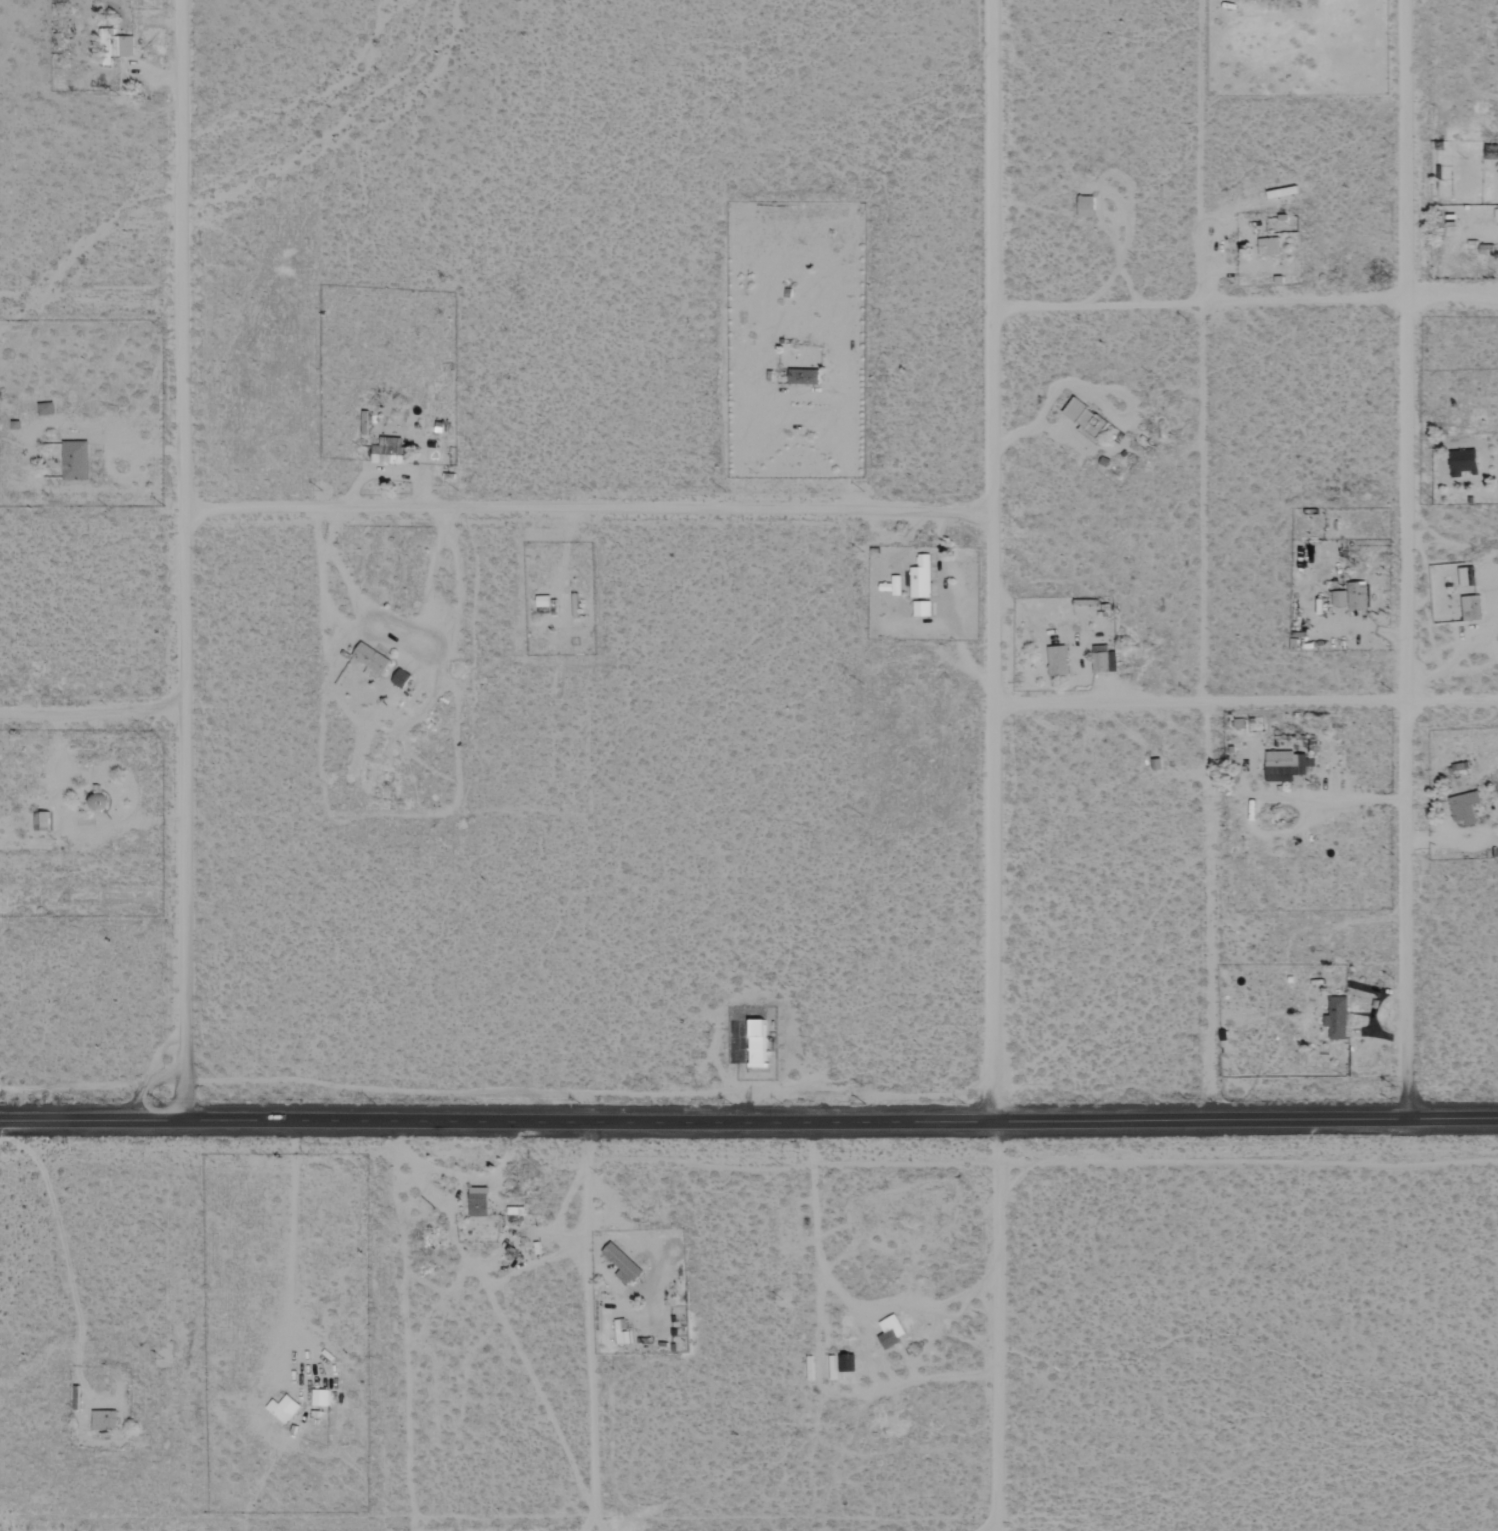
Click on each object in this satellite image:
building: (116, 46)
road: (180, 255)
road: (1246, 306)
building: (803, 376)
building: (46, 409)
building: (1086, 420)
building: (389, 452)
building: (75, 461)
building: (1463, 462)
road: (583, 511)
road: (1405, 559)
road: (988, 560)
building: (920, 578)
building: (893, 586)
building: (1352, 596)
building: (922, 609)
road: (182, 615)
building: (371, 659)
building: (1104, 660)
building: (1057, 661)
building: (401, 679)
road: (1242, 701)
road: (92, 719)
building: (1286, 766)
building: (1465, 807)
building: (41, 821)
road: (183, 920)
building: (1337, 1018)
building: (759, 1044)
road: (1245, 1117)
road: (496, 1122)
building: (478, 1202)
building: (622, 1264)
road: (993, 1326)
road: (591, 1327)
building: (891, 1331)
building: (622, 1339)
building: (846, 1363)
building: (320, 1397)
building: (283, 1408)
building: (104, 1419)

